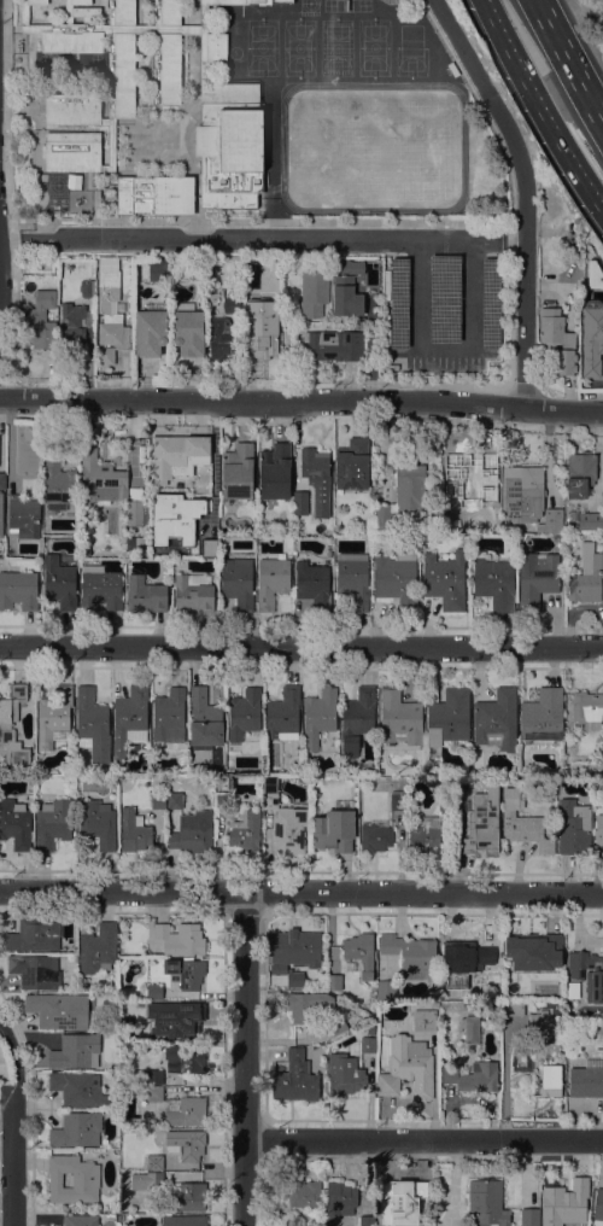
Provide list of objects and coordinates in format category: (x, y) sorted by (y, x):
building: (34, 1)
building: (78, 1)
building: (244, 1)
building: (166, 11)
building: (69, 12)
building: (121, 12)
building: (28, 22)
road: (496, 28)
building: (70, 37)
building: (157, 39)
building: (216, 47)
road: (569, 59)
building: (166, 69)
building: (121, 75)
building: (72, 109)
road: (6, 119)
road: (548, 123)
building: (110, 144)
building: (229, 144)
building: (72, 151)
road: (271, 163)
building: (76, 180)
road: (525, 193)
road: (595, 193)
building: (156, 194)
road: (592, 206)
road: (260, 218)
road: (262, 238)
road: (510, 243)
building: (587, 258)
building: (248, 264)
building: (347, 267)
building: (158, 268)
building: (592, 278)
building: (87, 287)
building: (314, 292)
building: (345, 296)
building: (209, 297)
building: (444, 297)
building: (275, 298)
building: (232, 299)
building: (399, 302)
building: (490, 302)
building: (110, 304)
building: (40, 321)
building: (76, 325)
building: (592, 328)
building: (188, 329)
building: (150, 332)
building: (219, 338)
building: (262, 338)
building: (557, 340)
building: (332, 345)
road: (444, 348)
building: (106, 355)
road: (301, 399)
building: (174, 454)
building: (352, 463)
building: (581, 467)
building: (238, 471)
building: (274, 471)
building: (464, 477)
building: (316, 478)
building: (100, 479)
building: (2, 480)
building: (58, 481)
building: (410, 481)
building: (529, 498)
building: (300, 502)
building: (136, 507)
building: (22, 510)
building: (1, 514)
building: (174, 516)
building: (384, 518)
building: (590, 520)
building: (433, 530)
building: (570, 536)
building: (586, 576)
building: (537, 578)
building: (353, 579)
building: (397, 579)
building: (445, 579)
building: (238, 582)
building: (271, 582)
building: (59, 583)
building: (496, 583)
building: (312, 584)
building: (100, 588)
building: (18, 589)
building: (193, 592)
building: (145, 594)
road: (301, 644)
building: (587, 710)
building: (283, 714)
building: (54, 716)
building: (245, 716)
building: (320, 716)
building: (543, 716)
building: (400, 717)
building: (170, 718)
building: (130, 719)
building: (204, 719)
building: (357, 719)
building: (447, 719)
building: (497, 719)
building: (6, 723)
building: (92, 724)
building: (270, 782)
building: (445, 799)
building: (158, 800)
building: (175, 800)
building: (270, 800)
building: (397, 800)
building: (482, 822)
building: (522, 822)
building: (16, 823)
building: (53, 823)
building: (98, 823)
building: (574, 825)
building: (334, 828)
building: (134, 829)
building: (245, 830)
building: (289, 830)
building: (598, 830)
building: (193, 833)
building: (423, 834)
building: (375, 836)
road: (122, 889)
road: (423, 891)
building: (35, 934)
building: (180, 938)
building: (295, 947)
building: (98, 948)
building: (358, 953)
building: (411, 954)
building: (531, 957)
building: (463, 963)
building: (35, 970)
building: (185, 971)
building: (587, 973)
building: (294, 979)
building: (333, 981)
building: (82, 982)
building: (573, 989)
building: (154, 991)
building: (386, 991)
building: (490, 1004)
building: (306, 1005)
building: (469, 1008)
building: (511, 1008)
building: (59, 1010)
building: (569, 1012)
building: (174, 1018)
building: (426, 1020)
building: (336, 1024)
building: (538, 1026)
building: (469, 1028)
building: (368, 1044)
building: (76, 1051)
building: (186, 1058)
road: (245, 1058)
building: (408, 1068)
building: (344, 1074)
building: (146, 1076)
building: (473, 1076)
building: (295, 1078)
building: (586, 1079)
building: (550, 1080)
building: (78, 1088)
building: (154, 1093)
building: (186, 1110)
road: (12, 1123)
building: (77, 1129)
road: (423, 1138)
building: (183, 1143)
building: (154, 1162)
building: (74, 1179)
building: (147, 1180)
building: (304, 1193)
building: (191, 1195)
building: (339, 1198)
building: (398, 1199)
building: (564, 1201)
building: (487, 1202)
building: (598, 1204)
building: (529, 1216)
building: (286, 1219)
building: (81, 1220)
building: (183, 1220)
building: (367, 1220)

